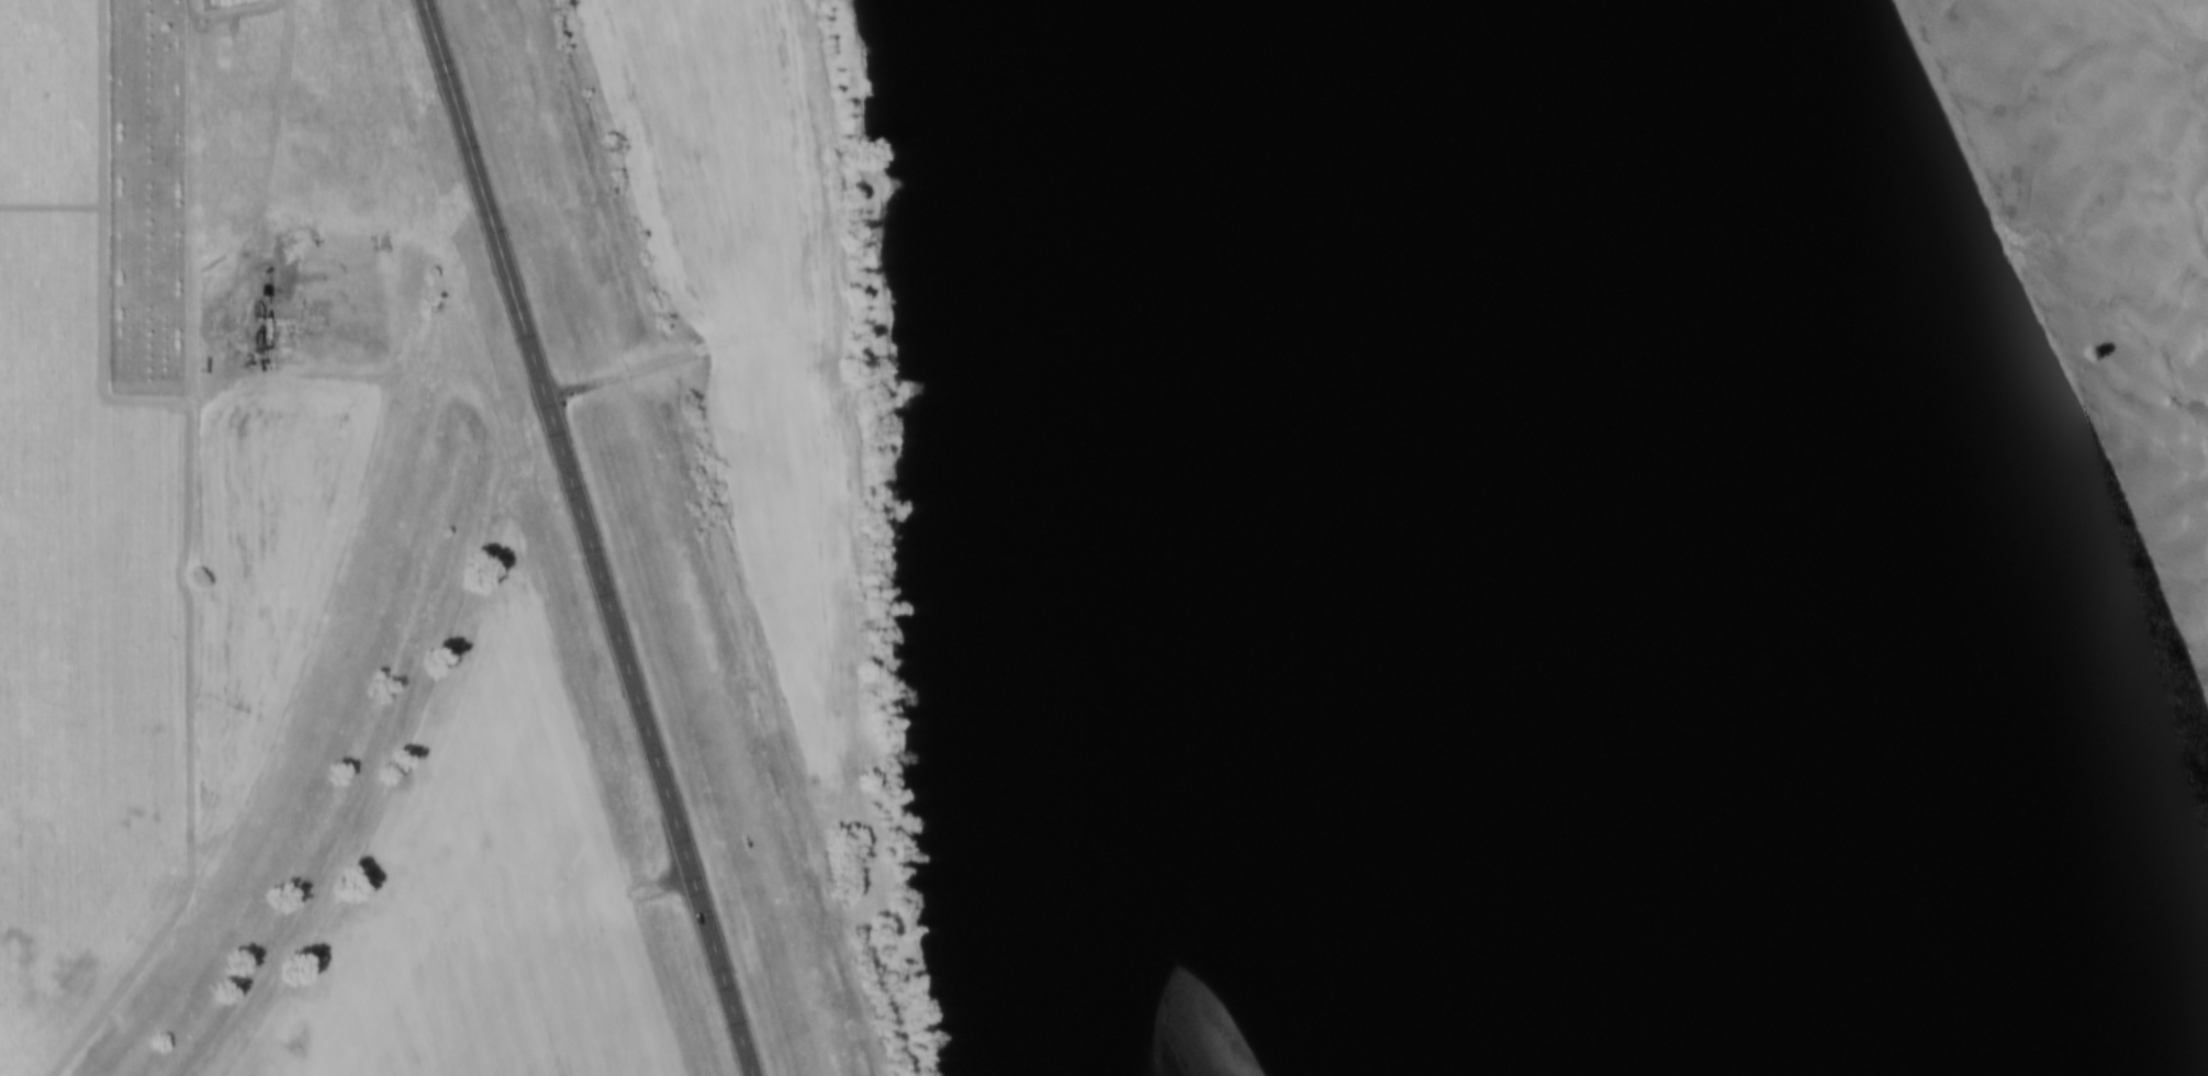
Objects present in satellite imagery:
road: (634, 371)
river: (1337, 536)
road: (589, 537)

